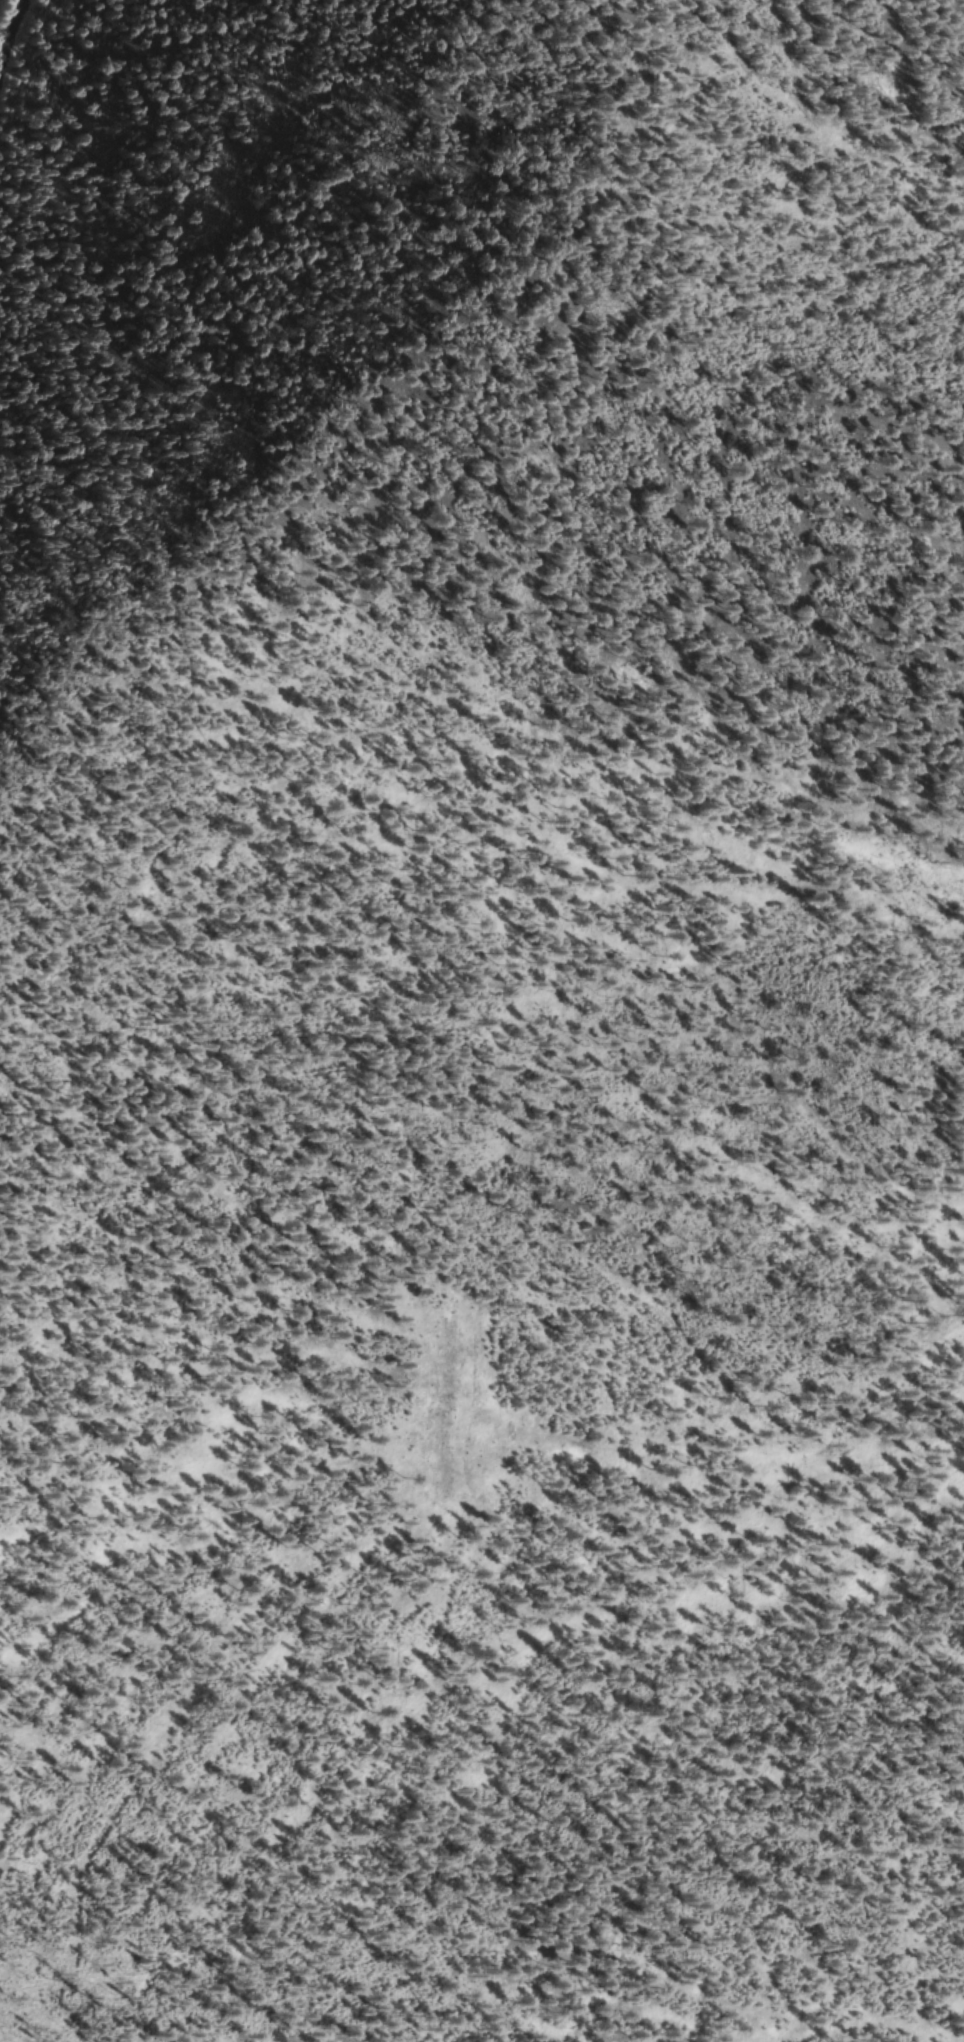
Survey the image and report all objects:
river: (9, 34)

